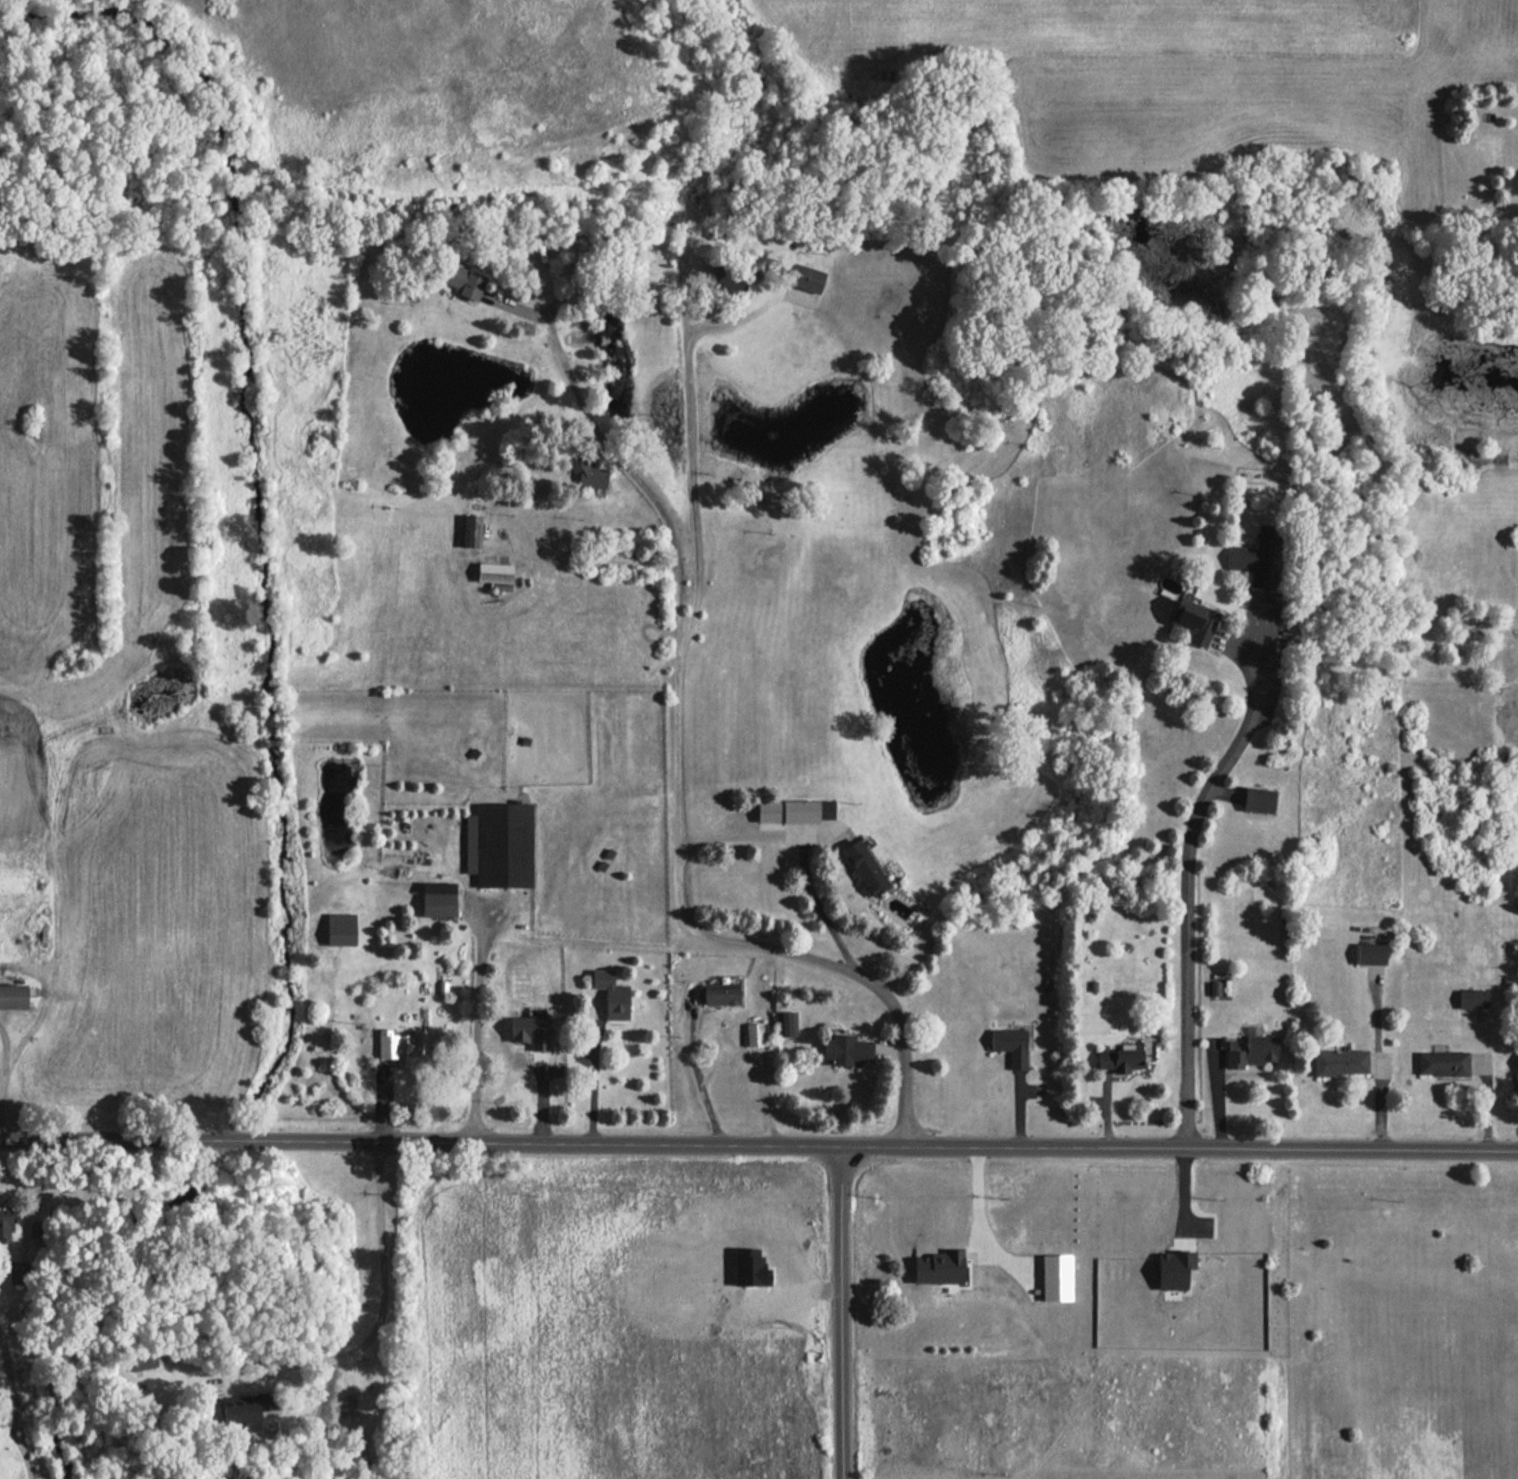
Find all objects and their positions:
building: (726, 276)
building: (805, 277)
building: (464, 281)
building: (587, 472)
road: (693, 483)
building: (473, 531)
road: (601, 555)
building: (1261, 557)
building: (496, 575)
building: (1194, 621)
road: (675, 788)
building: (1259, 800)
building: (795, 810)
building: (500, 844)
road: (802, 851)
building: (865, 867)
road: (1188, 883)
building: (439, 899)
building: (341, 929)
building: (1371, 954)
building: (612, 994)
building: (721, 994)
building: (13, 996)
building: (1473, 998)
building: (789, 1023)
road: (478, 1025)
building: (532, 1031)
building: (755, 1034)
building: (1011, 1045)
building: (405, 1047)
building: (848, 1050)
building: (1252, 1051)
building: (1121, 1059)
road: (3, 1060)
building: (1340, 1062)
building: (1443, 1063)
building: (1517, 1066)
road: (597, 1072)
road: (706, 1086)
road: (118, 1139)
road: (711, 1144)
road: (1352, 1148)
building: (7, 1223)
building: (940, 1267)
building: (750, 1268)
building: (1175, 1269)
building: (19, 1272)
building: (1056, 1277)
park: (1515, 1285)
road: (382, 1295)
road: (843, 1312)
building: (143, 1360)
building: (248, 1409)
building: (269, 1415)

